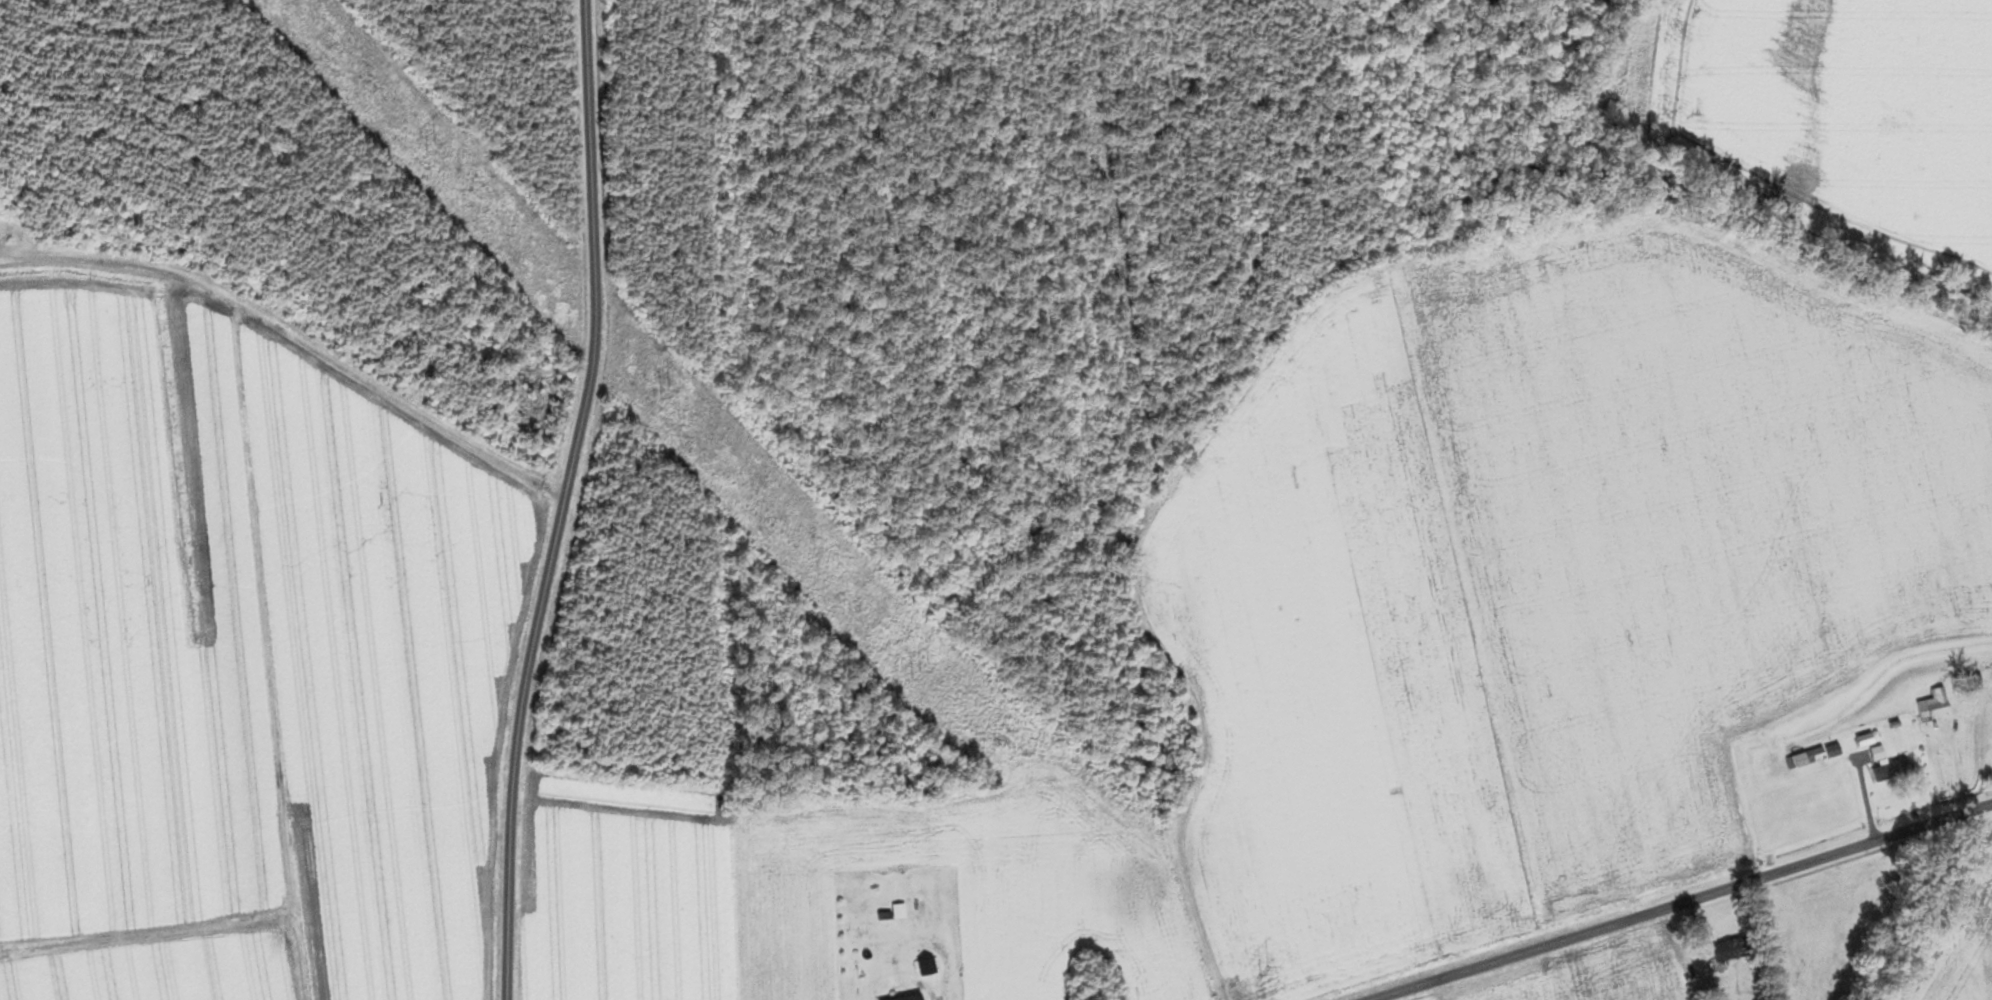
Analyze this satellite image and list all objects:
power tower: (433, 149)
road: (304, 280)
power tower: (669, 392)
road: (562, 500)
power tower: (937, 668)
building: (1936, 705)
building: (1819, 753)
building: (1893, 770)
road: (1682, 903)
building: (1729, 949)
power tower: (1266, 971)
road: (927, 993)
building: (910, 997)

